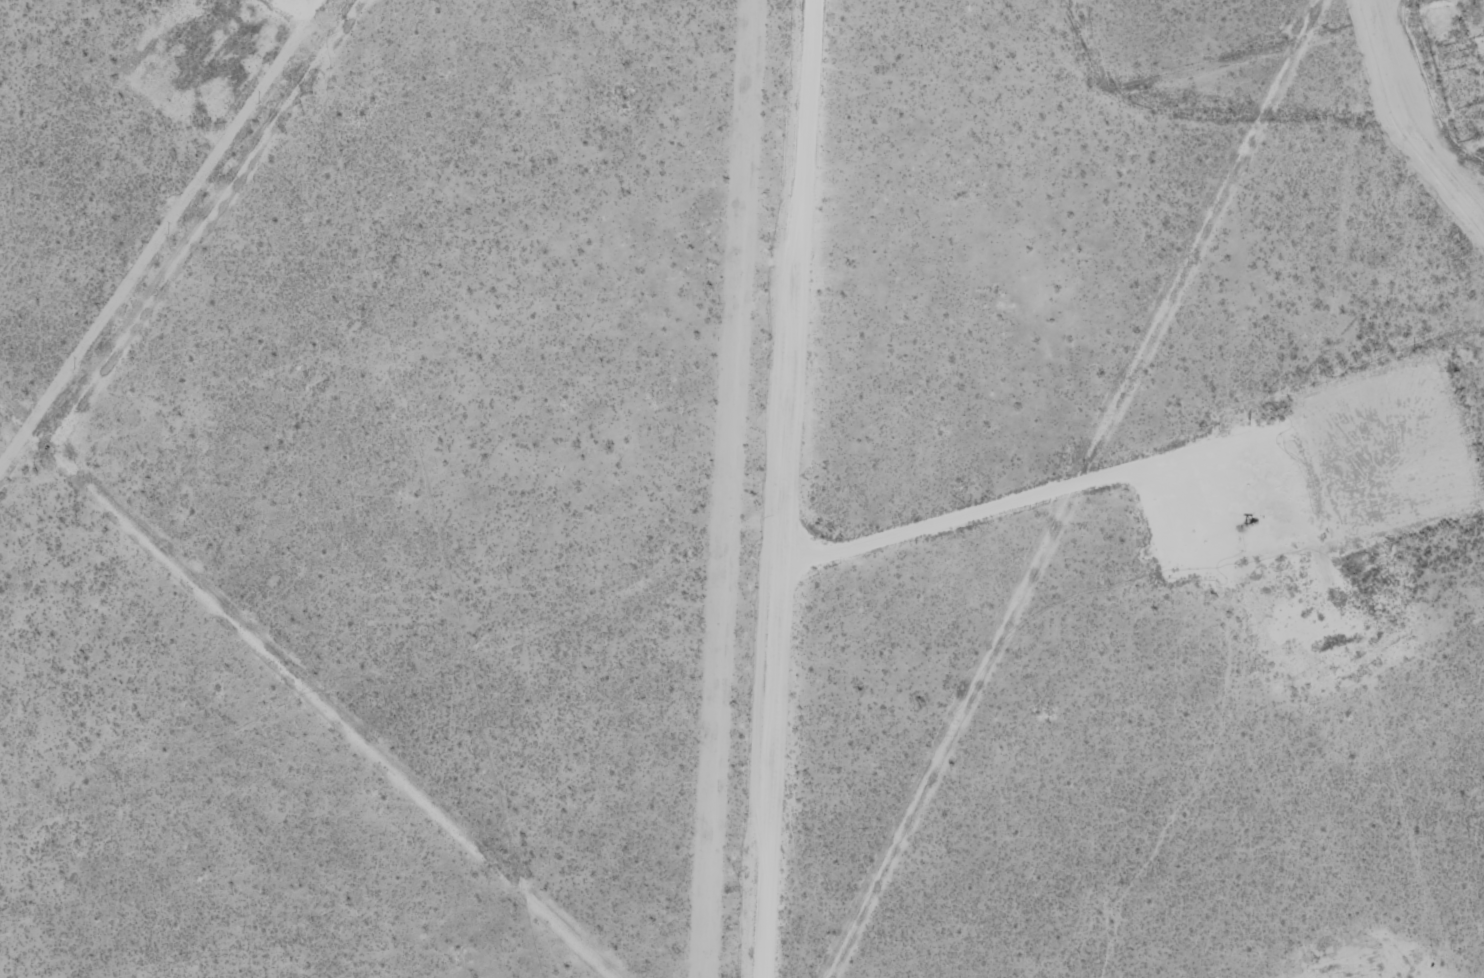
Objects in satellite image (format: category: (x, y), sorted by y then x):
road: (1253, 91)
road: (805, 489)

